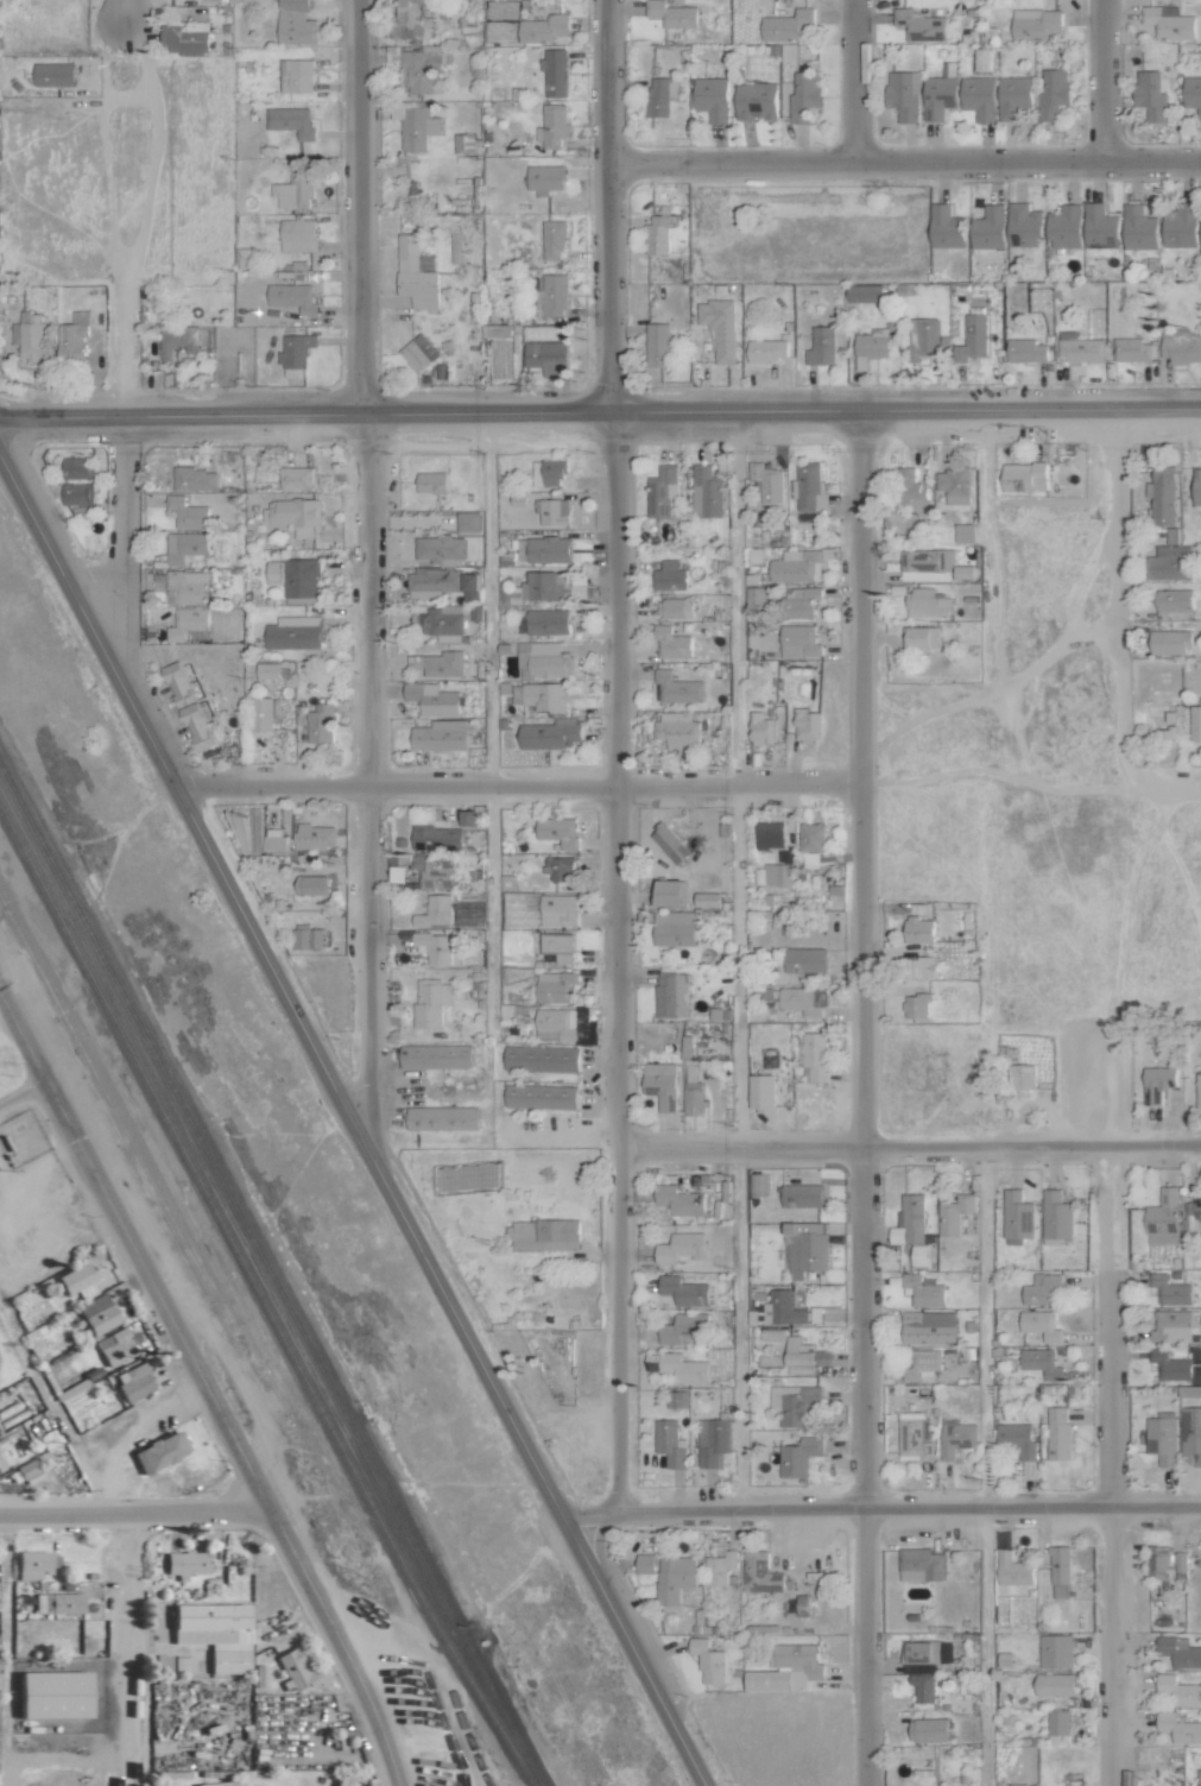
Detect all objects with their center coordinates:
road: (124, 13)
building: (671, 14)
building: (501, 19)
building: (410, 20)
building: (295, 23)
building: (1169, 23)
building: (1035, 24)
building: (785, 25)
building: (919, 25)
building: (545, 30)
building: (184, 37)
building: (422, 68)
building: (554, 72)
building: (53, 75)
building: (297, 76)
road: (1102, 80)
road: (849, 81)
building: (1053, 93)
building: (804, 94)
building: (1193, 94)
building: (659, 95)
building: (904, 95)
building: (1012, 95)
building: (1150, 95)
building: (938, 96)
building: (712, 97)
building: (978, 97)
building: (754, 101)
building: (290, 121)
building: (417, 126)
building: (551, 126)
road: (904, 160)
road: (89, 162)
building: (544, 177)
building: (295, 188)
road: (609, 206)
road: (127, 222)
building: (1023, 226)
building: (1178, 226)
building: (946, 227)
building: (1064, 227)
building: (1099, 227)
building: (1138, 227)
building: (988, 228)
building: (1200, 228)
building: (659, 233)
building: (297, 234)
building: (551, 240)
building: (416, 273)
building: (864, 294)
building: (550, 295)
building: (291, 297)
building: (719, 327)
building: (494, 330)
building: (75, 335)
building: (31, 336)
building: (973, 336)
building: (923, 339)
building: (177, 340)
building: (657, 345)
building: (821, 346)
building: (871, 346)
building: (1182, 348)
building: (1079, 349)
building: (766, 351)
building: (1025, 351)
building: (1131, 351)
building: (295, 352)
building: (418, 353)
building: (546, 356)
road: (905, 410)
road: (304, 414)
building: (77, 467)
building: (548, 472)
building: (1024, 475)
building: (194, 478)
building: (295, 478)
building: (766, 480)
building: (431, 481)
building: (952, 485)
building: (809, 486)
building: (1196, 486)
building: (911, 487)
building: (660, 491)
building: (704, 492)
building: (76, 493)
building: (1162, 494)
building: (550, 507)
building: (187, 512)
building: (292, 515)
building: (467, 520)
road: (122, 525)
building: (963, 532)
building: (184, 545)
building: (440, 547)
building: (548, 549)
building: (1169, 562)
building: (924, 563)
building: (796, 566)
building: (273, 572)
building: (963, 572)
building: (669, 575)
building: (299, 576)
road: (366, 578)
building: (445, 585)
building: (188, 586)
building: (542, 586)
building: (754, 597)
building: (802, 600)
building: (1174, 600)
building: (924, 601)
building: (676, 607)
road: (1120, 607)
building: (546, 620)
building: (441, 623)
building: (189, 624)
building: (292, 632)
building: (919, 636)
building: (798, 640)
building: (671, 642)
building: (1170, 642)
building: (543, 660)
building: (437, 663)
building: (266, 669)
building: (677, 688)
building: (542, 695)
building: (430, 699)
building: (187, 705)
building: (260, 713)
building: (320, 722)
building: (1195, 722)
building: (805, 724)
building: (676, 728)
building: (761, 728)
building: (550, 733)
building: (440, 734)
road: (492, 777)
road: (1030, 780)
road: (518, 785)
building: (466, 816)
building: (557, 831)
building: (314, 835)
building: (436, 838)
building: (666, 838)
building: (770, 838)
building: (273, 839)
building: (811, 844)
building: (558, 867)
building: (438, 869)
building: (777, 873)
building: (310, 884)
building: (706, 898)
building: (434, 910)
building: (557, 910)
building: (674, 927)
building: (917, 929)
building: (306, 936)
building: (434, 946)
building: (557, 946)
building: (804, 959)
road: (739, 960)
road: (615, 961)
building: (918, 967)
building: (554, 986)
building: (671, 995)
building: (803, 999)
building: (429, 1001)
building: (916, 1005)
building: (555, 1024)
building: (814, 1054)
building: (435, 1055)
building: (541, 1058)
building: (1157, 1083)
building: (660, 1084)
building: (1014, 1084)
building: (1197, 1090)
building: (693, 1091)
road: (23, 1092)
building: (760, 1092)
building: (539, 1096)
road: (861, 1098)
railway: (112, 1106)
building: (442, 1117)
road: (348, 1121)
road: (909, 1147)
building: (801, 1193)
building: (678, 1199)
building: (954, 1213)
building: (1194, 1213)
building: (1017, 1214)
building: (1056, 1216)
building: (1163, 1218)
building: (544, 1235)
building: (679, 1247)
building: (921, 1255)
railway: (271, 1274)
building: (72, 1277)
building: (1041, 1288)
building: (1170, 1289)
building: (683, 1290)
building: (922, 1290)
railway: (261, 1299)
building: (783, 1308)
building: (94, 1313)
building: (1041, 1325)
building: (1176, 1325)
building: (683, 1327)
building: (928, 1327)
building: (114, 1345)
building: (803, 1356)
building: (1039, 1362)
building: (922, 1365)
building: (1170, 1365)
building: (683, 1368)
building: (132, 1382)
road: (204, 1387)
building: (1016, 1394)
building: (677, 1399)
building: (794, 1402)
road: (52, 1412)
building: (1057, 1434)
building: (955, 1437)
building: (915, 1438)
building: (1162, 1438)
building: (1191, 1438)
building: (1017, 1439)
building: (712, 1441)
building: (669, 1443)
building: (157, 1451)
building: (798, 1456)
road: (980, 1465)
road: (1105, 1465)
building: (26, 1470)
road: (881, 1507)
road: (134, 1512)
building: (1158, 1561)
building: (1180, 1561)
building: (183, 1563)
building: (644, 1563)
building: (33, 1564)
building: (921, 1565)
building: (719, 1567)
building: (1012, 1569)
building: (1058, 1571)
building: (759, 1573)
building: (675, 1579)
building: (55, 1603)
building: (211, 1633)
road: (2, 1634)
road: (124, 1648)
building: (1055, 1651)
building: (1178, 1652)
building: (918, 1654)
building: (707, 1660)
building: (785, 1668)
building: (293, 1670)
building: (1054, 1685)
building: (923, 1687)
building: (1178, 1690)
building: (49, 1695)
building: (1058, 1727)
building: (1178, 1728)
building: (928, 1730)
road: (62, 1755)
building: (1199, 1776)
building: (217, 1784)

